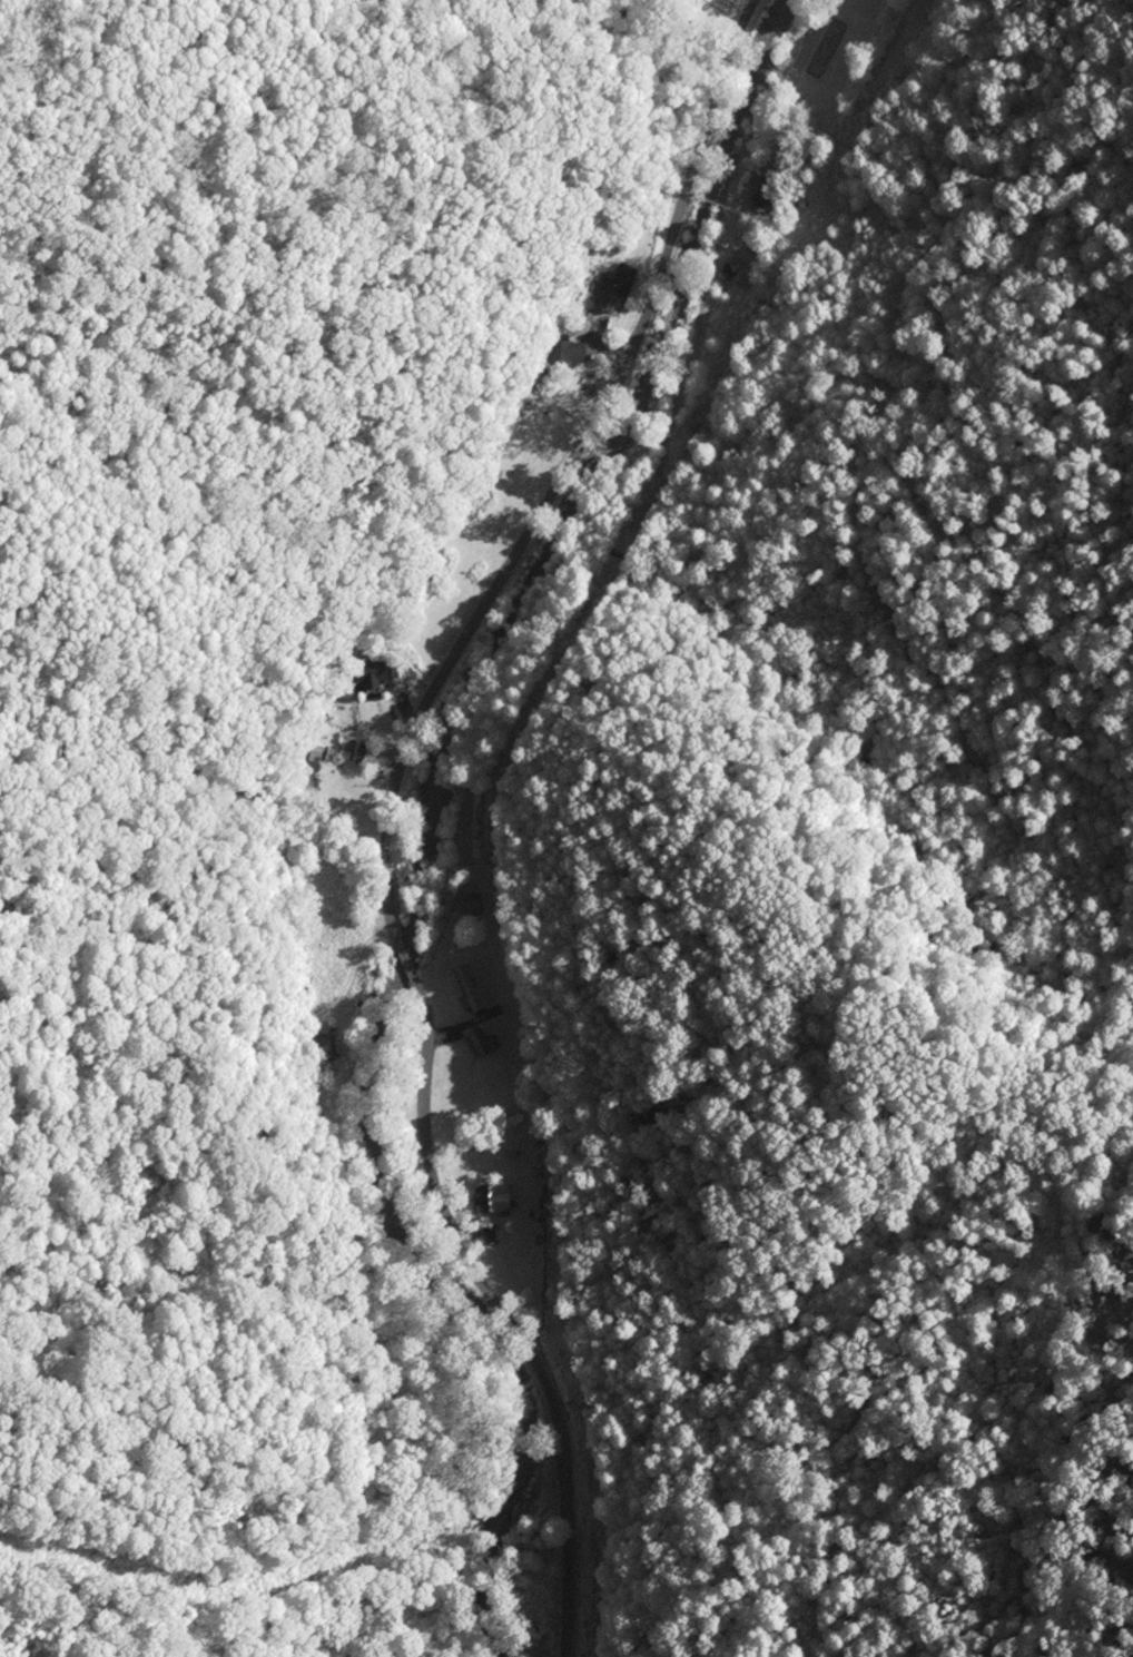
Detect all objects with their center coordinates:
building: (758, 244)
building: (615, 286)
building: (566, 351)
road: (566, 461)
building: (371, 677)
building: (353, 749)
building: (470, 900)
road: (404, 950)
building: (467, 986)
building: (481, 1043)
building: (319, 1047)
building: (494, 1196)
road: (508, 1318)

